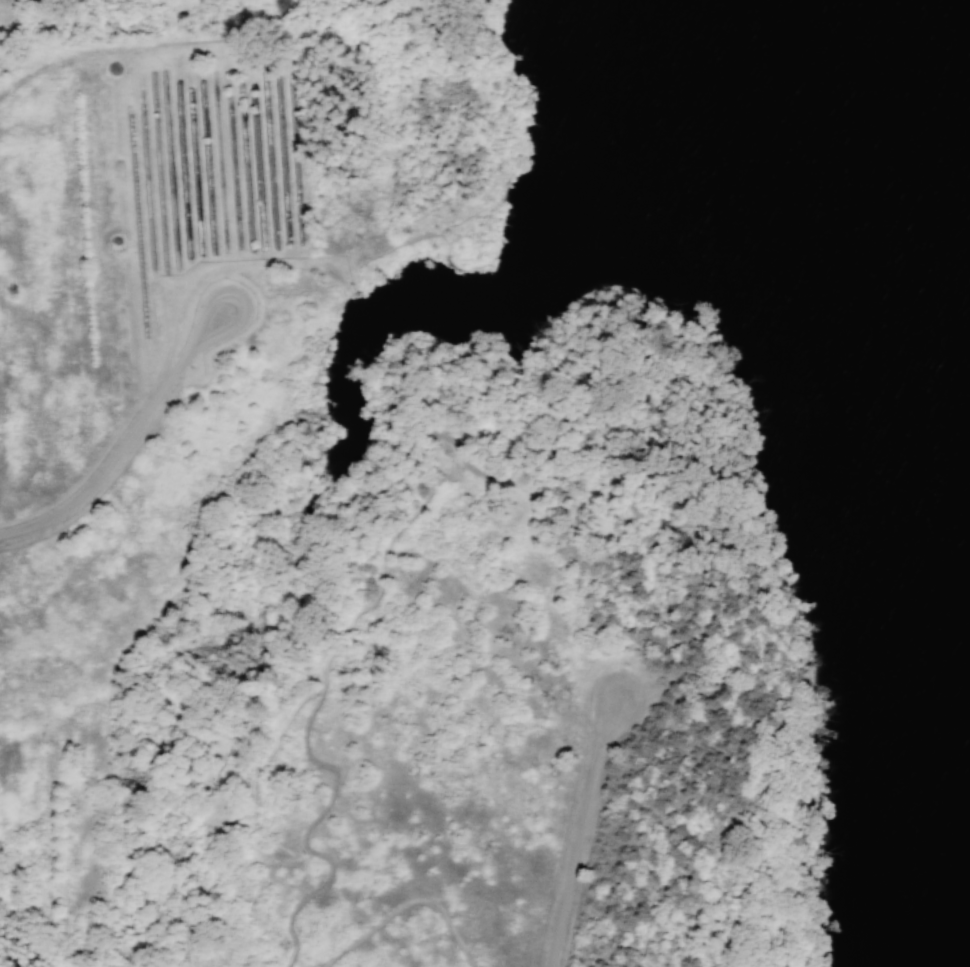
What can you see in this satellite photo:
road: (122, 439)
park: (485, 483)
road: (737, 604)
road: (579, 831)
road: (408, 904)
road: (626, 943)

